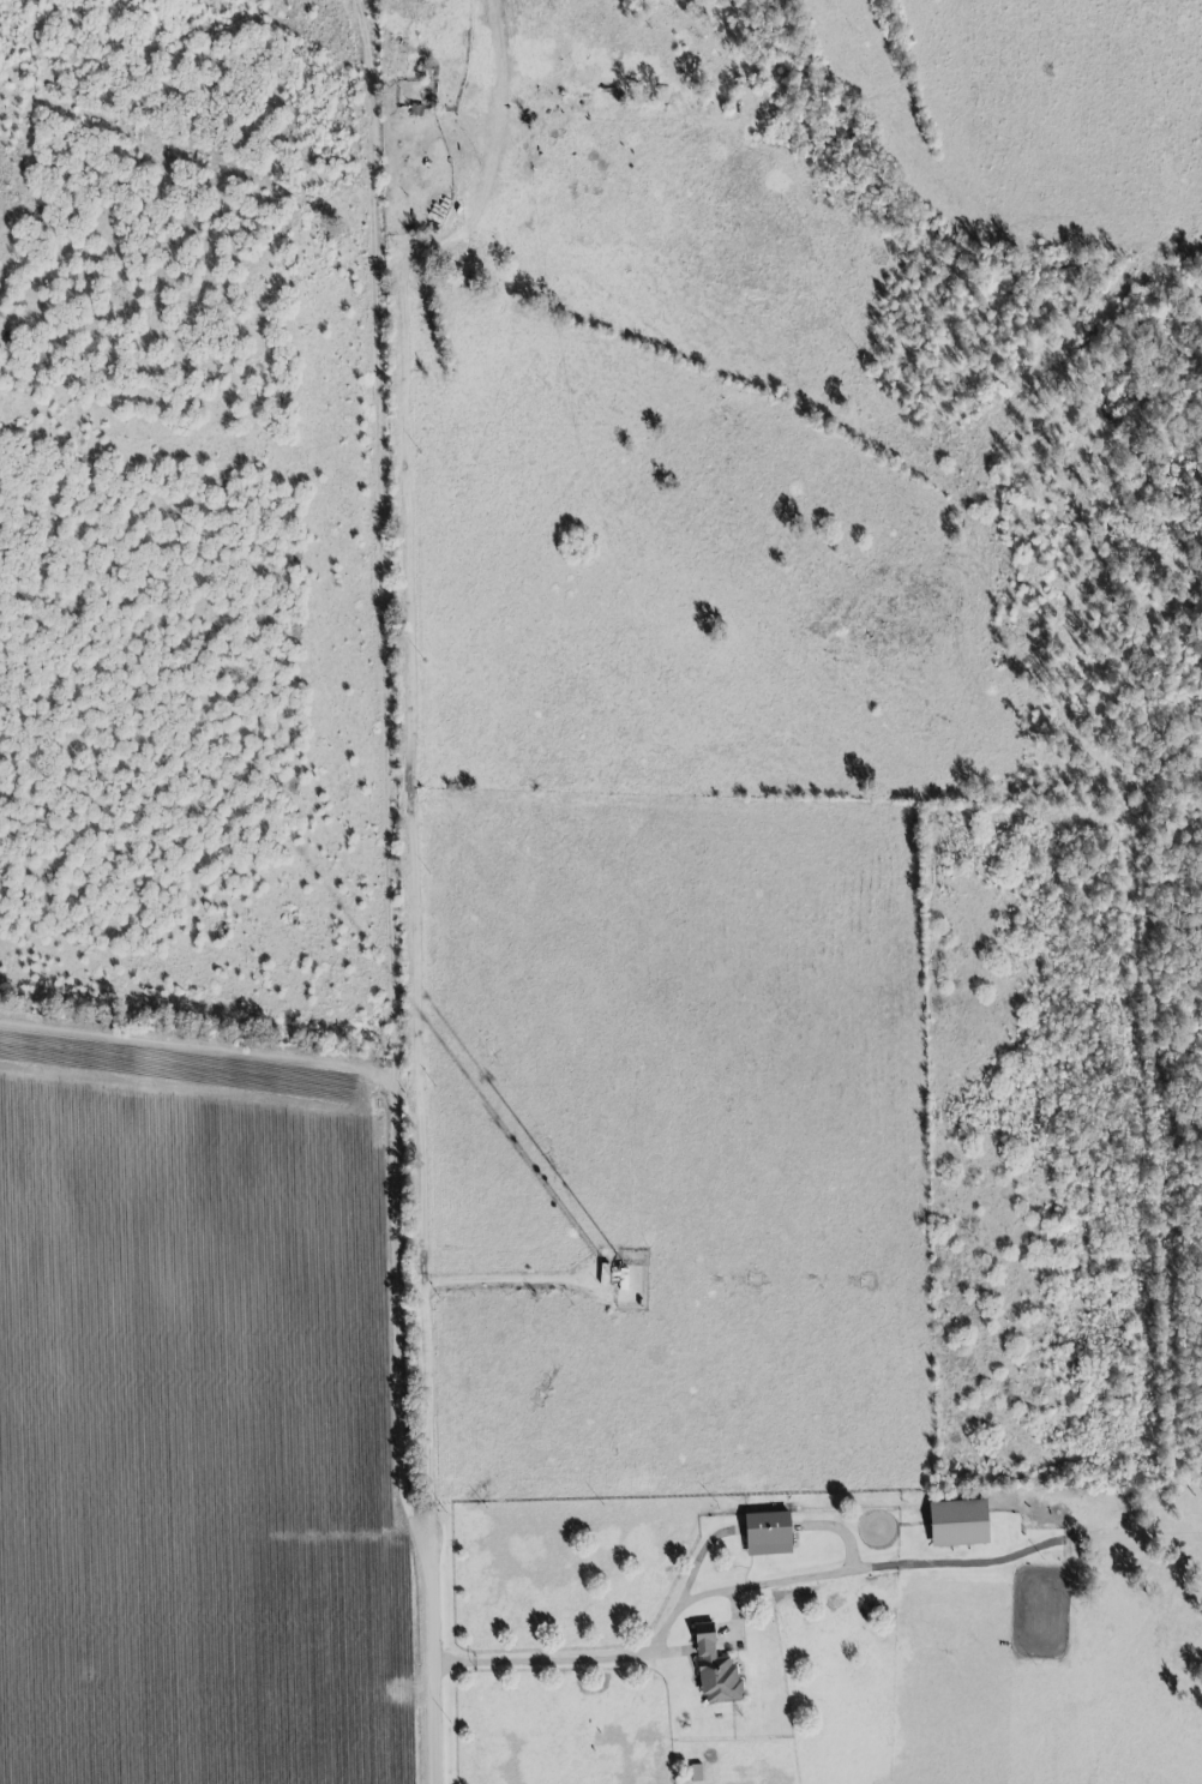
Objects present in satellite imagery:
road: (497, 173)
road: (410, 891)
road: (391, 1128)
building: (960, 1524)
building: (769, 1534)
road: (547, 1662)
building: (715, 1671)

